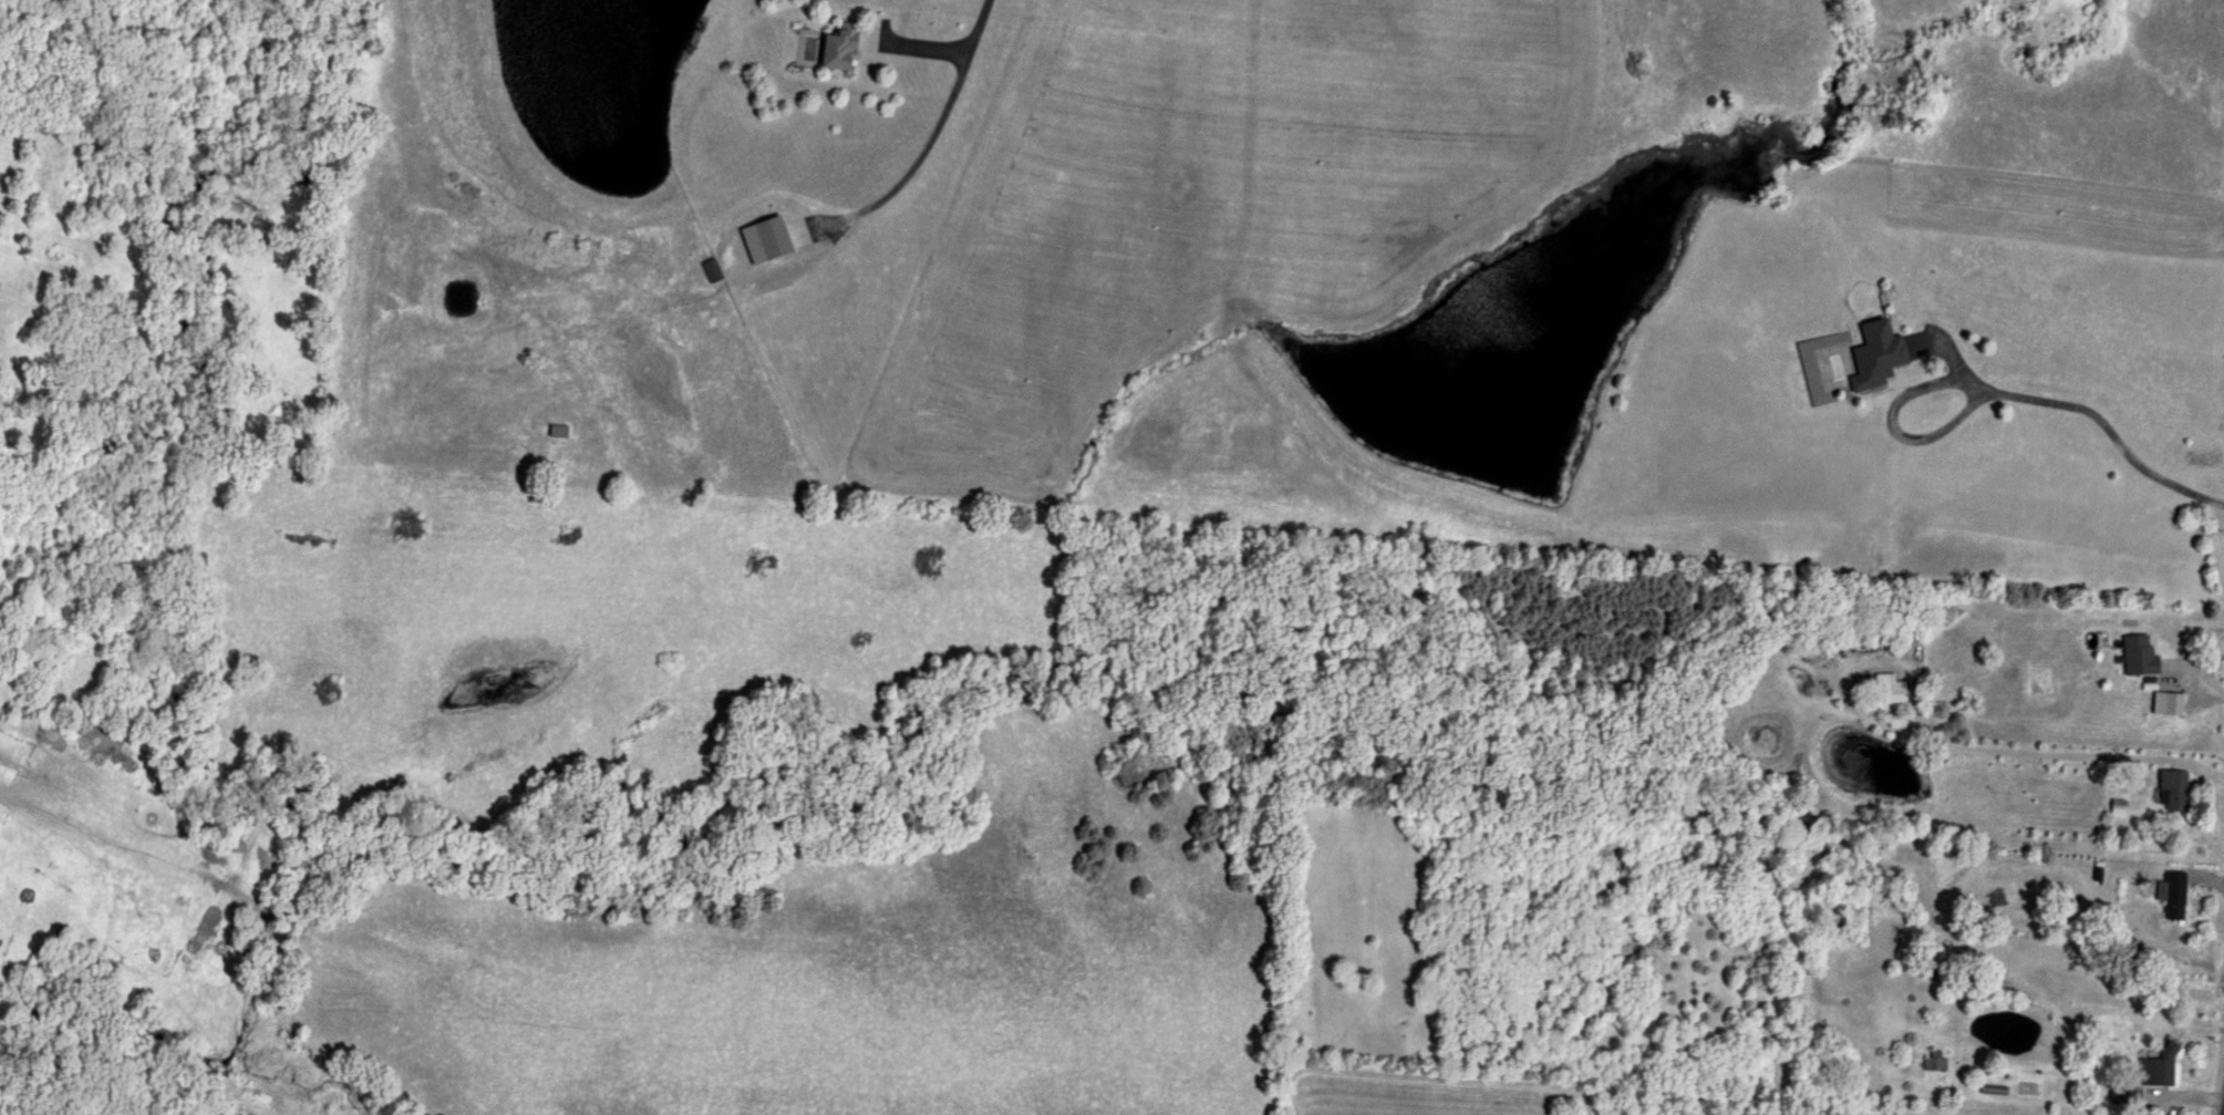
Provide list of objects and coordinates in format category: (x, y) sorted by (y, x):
building: (832, 47)
road: (923, 143)
building: (758, 239)
building: (1872, 355)
road: (1889, 422)
building: (560, 430)
road: (2106, 430)
building: (2134, 657)
road: (1849, 661)
building: (1884, 690)
building: (2166, 704)
road: (2069, 752)
building: (2169, 791)
building: (2171, 896)
building: (2155, 1067)
building: (2118, 1094)

